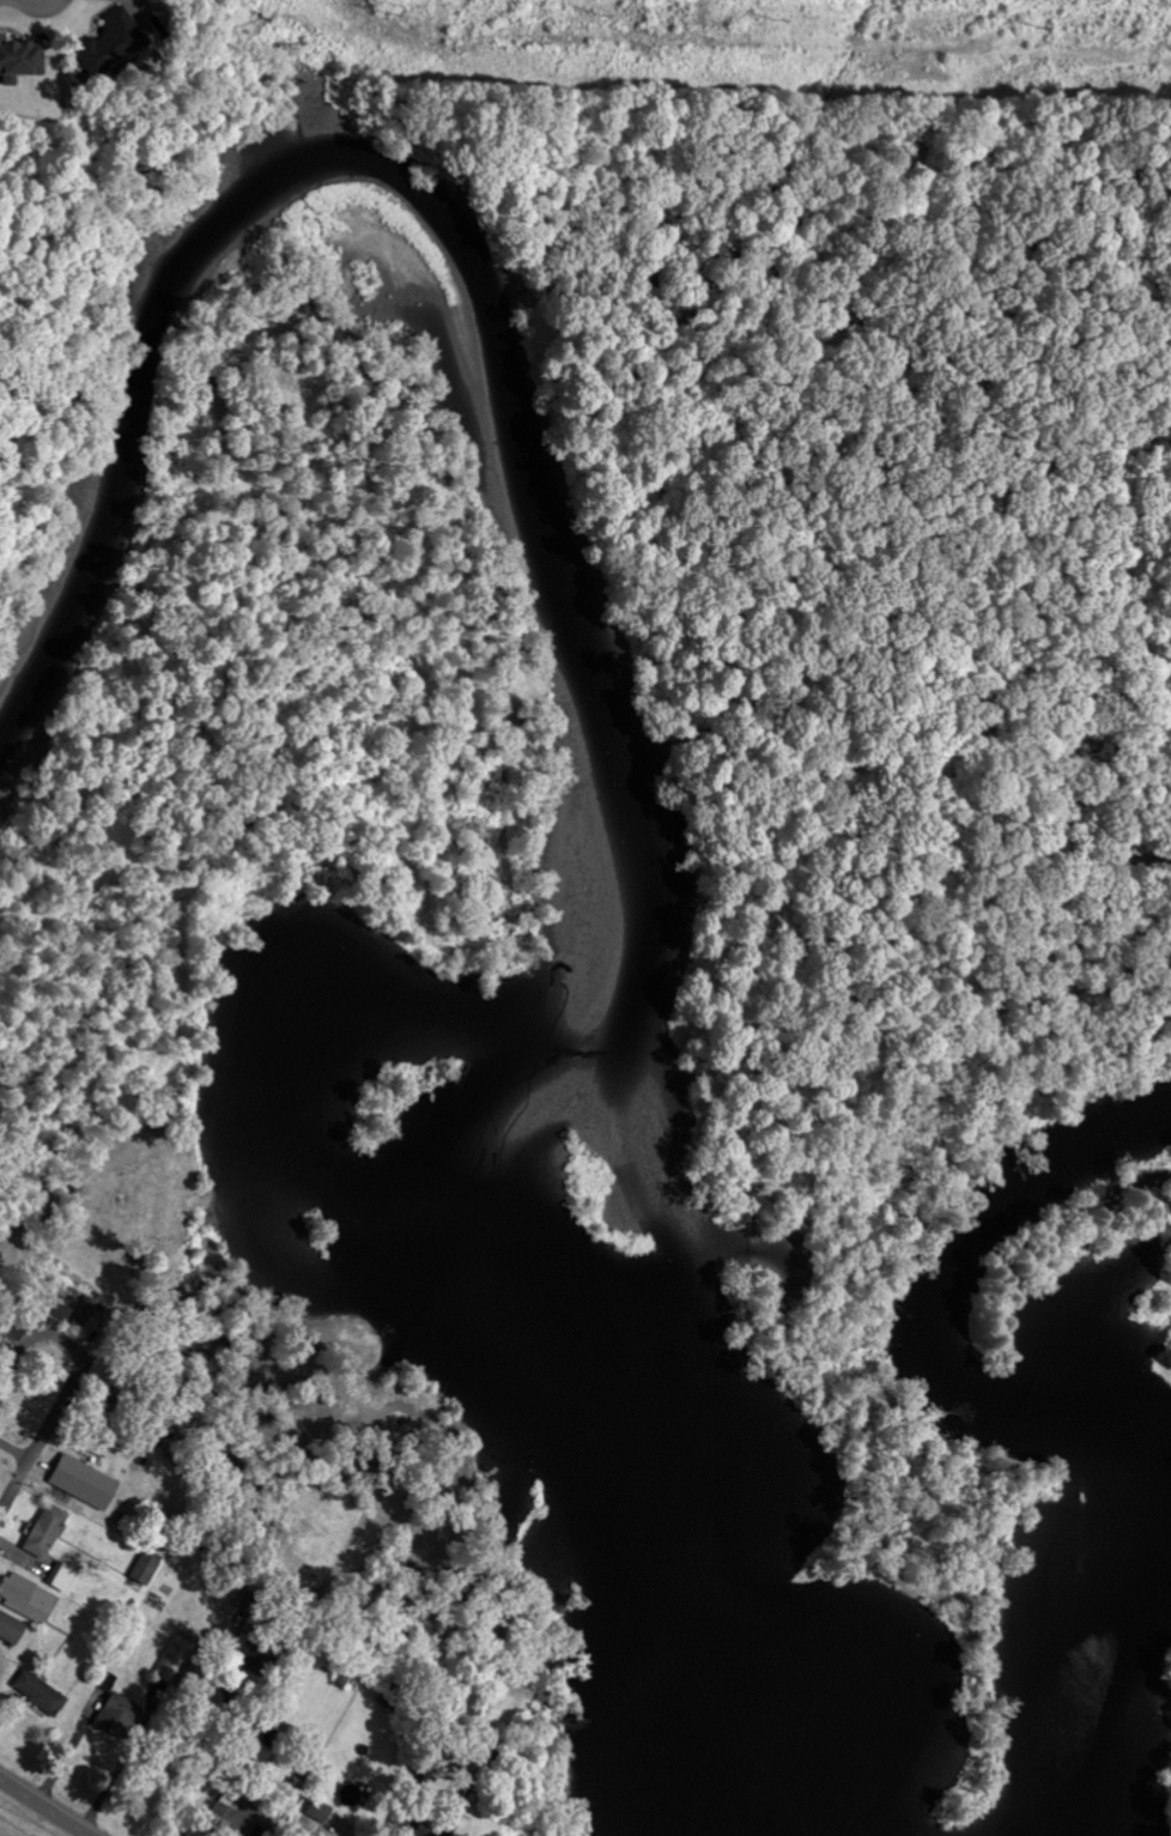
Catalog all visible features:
building: (111, 42)
building: (20, 61)
building: (73, 1311)
road: (73, 1384)
road: (14, 1453)
building: (47, 1531)
building: (146, 1570)
building: (66, 1579)
building: (29, 1598)
building: (11, 1629)
building: (176, 1658)
building: (42, 1691)
building: (120, 1715)
road: (218, 1749)
building: (298, 1787)
road: (42, 1807)
building: (321, 1810)
building: (236, 1818)

